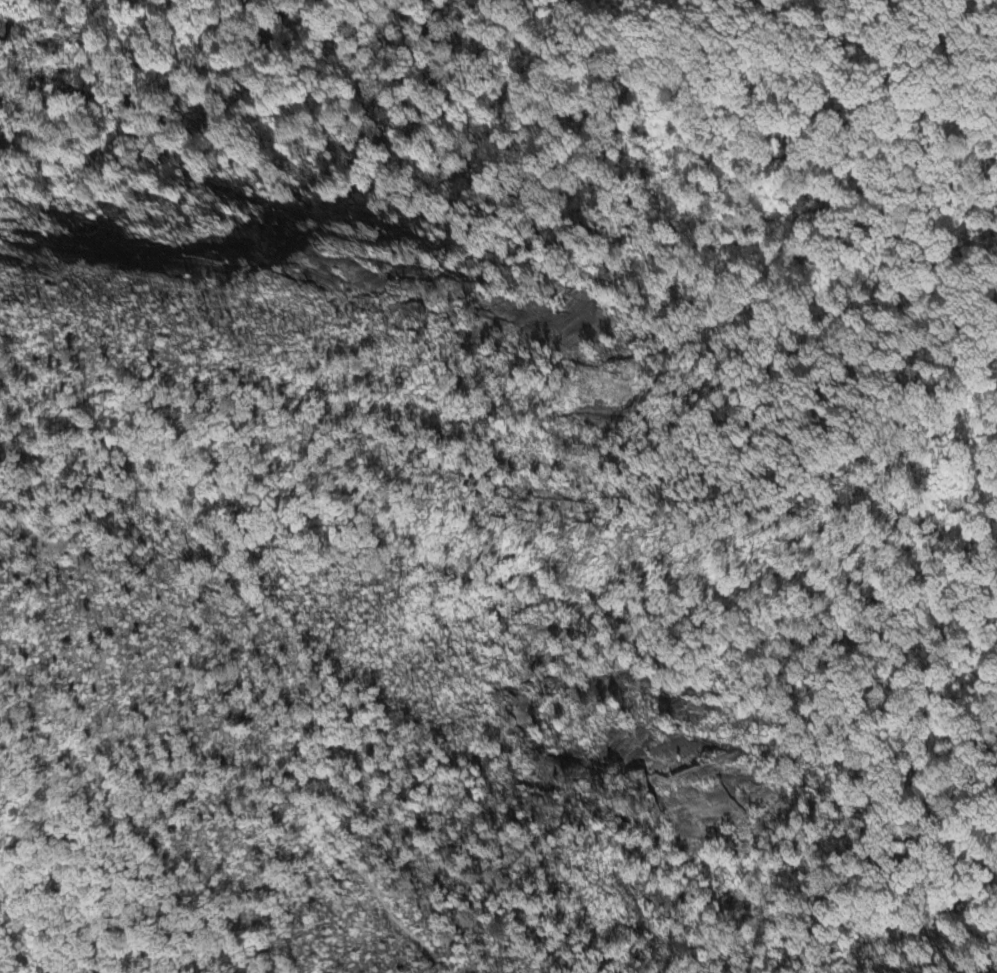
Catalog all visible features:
park: (500, 457)
road: (211, 546)

